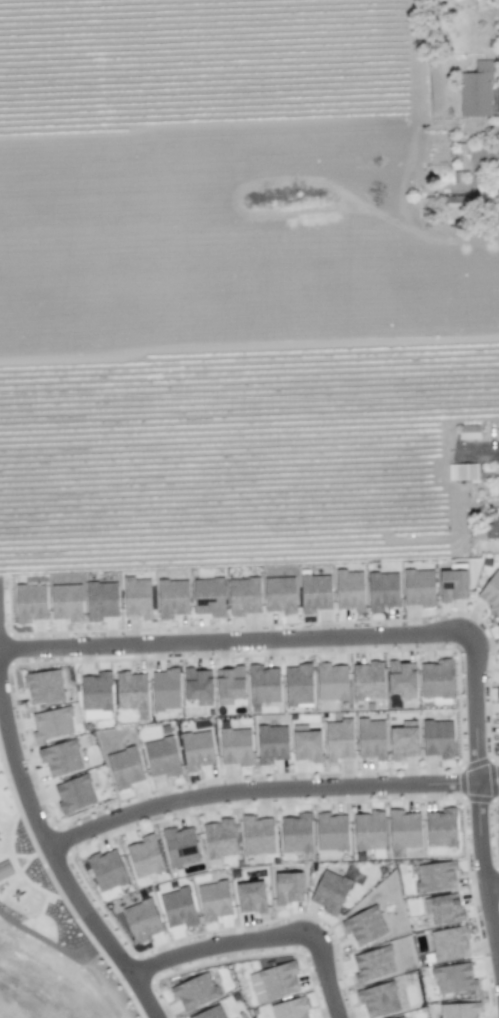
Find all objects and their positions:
building: (498, 4)
building: (475, 90)
building: (468, 431)
building: (461, 471)
building: (492, 527)
building: (452, 582)
building: (418, 587)
building: (349, 590)
building: (382, 590)
building: (314, 592)
building: (491, 593)
building: (279, 594)
building: (243, 595)
building: (208, 596)
building: (136, 597)
building: (172, 598)
building: (101, 600)
building: (65, 602)
building: (29, 603)
road: (302, 641)
building: (401, 678)
building: (434, 679)
building: (367, 680)
building: (331, 681)
building: (262, 684)
building: (297, 684)
building: (197, 685)
building: (228, 685)
building: (43, 686)
building: (165, 689)
building: (131, 690)
building: (498, 693)
building: (95, 694)
building: (52, 723)
building: (370, 738)
building: (436, 738)
building: (337, 739)
building: (404, 739)
building: (305, 742)
building: (271, 743)
building: (235, 746)
building: (196, 749)
building: (161, 756)
building: (61, 758)
building: (124, 767)
road: (483, 783)
building: (73, 794)
road: (189, 799)
building: (440, 827)
building: (403, 829)
building: (368, 830)
building: (331, 831)
building: (296, 833)
building: (256, 834)
building: (218, 838)
road: (474, 844)
building: (179, 846)
building: (143, 856)
building: (4, 869)
building: (106, 869)
building: (436, 876)
building: (287, 887)
building: (330, 889)
building: (250, 896)
building: (214, 900)
building: (425, 905)
building: (177, 907)
building: (445, 907)
building: (141, 919)
building: (364, 925)
road: (491, 931)
road: (100, 933)
road: (260, 937)
building: (449, 943)
building: (372, 963)
building: (453, 978)
building: (273, 982)
building: (194, 990)
building: (381, 999)
building: (288, 1009)
building: (458, 1010)
building: (209, 1013)

